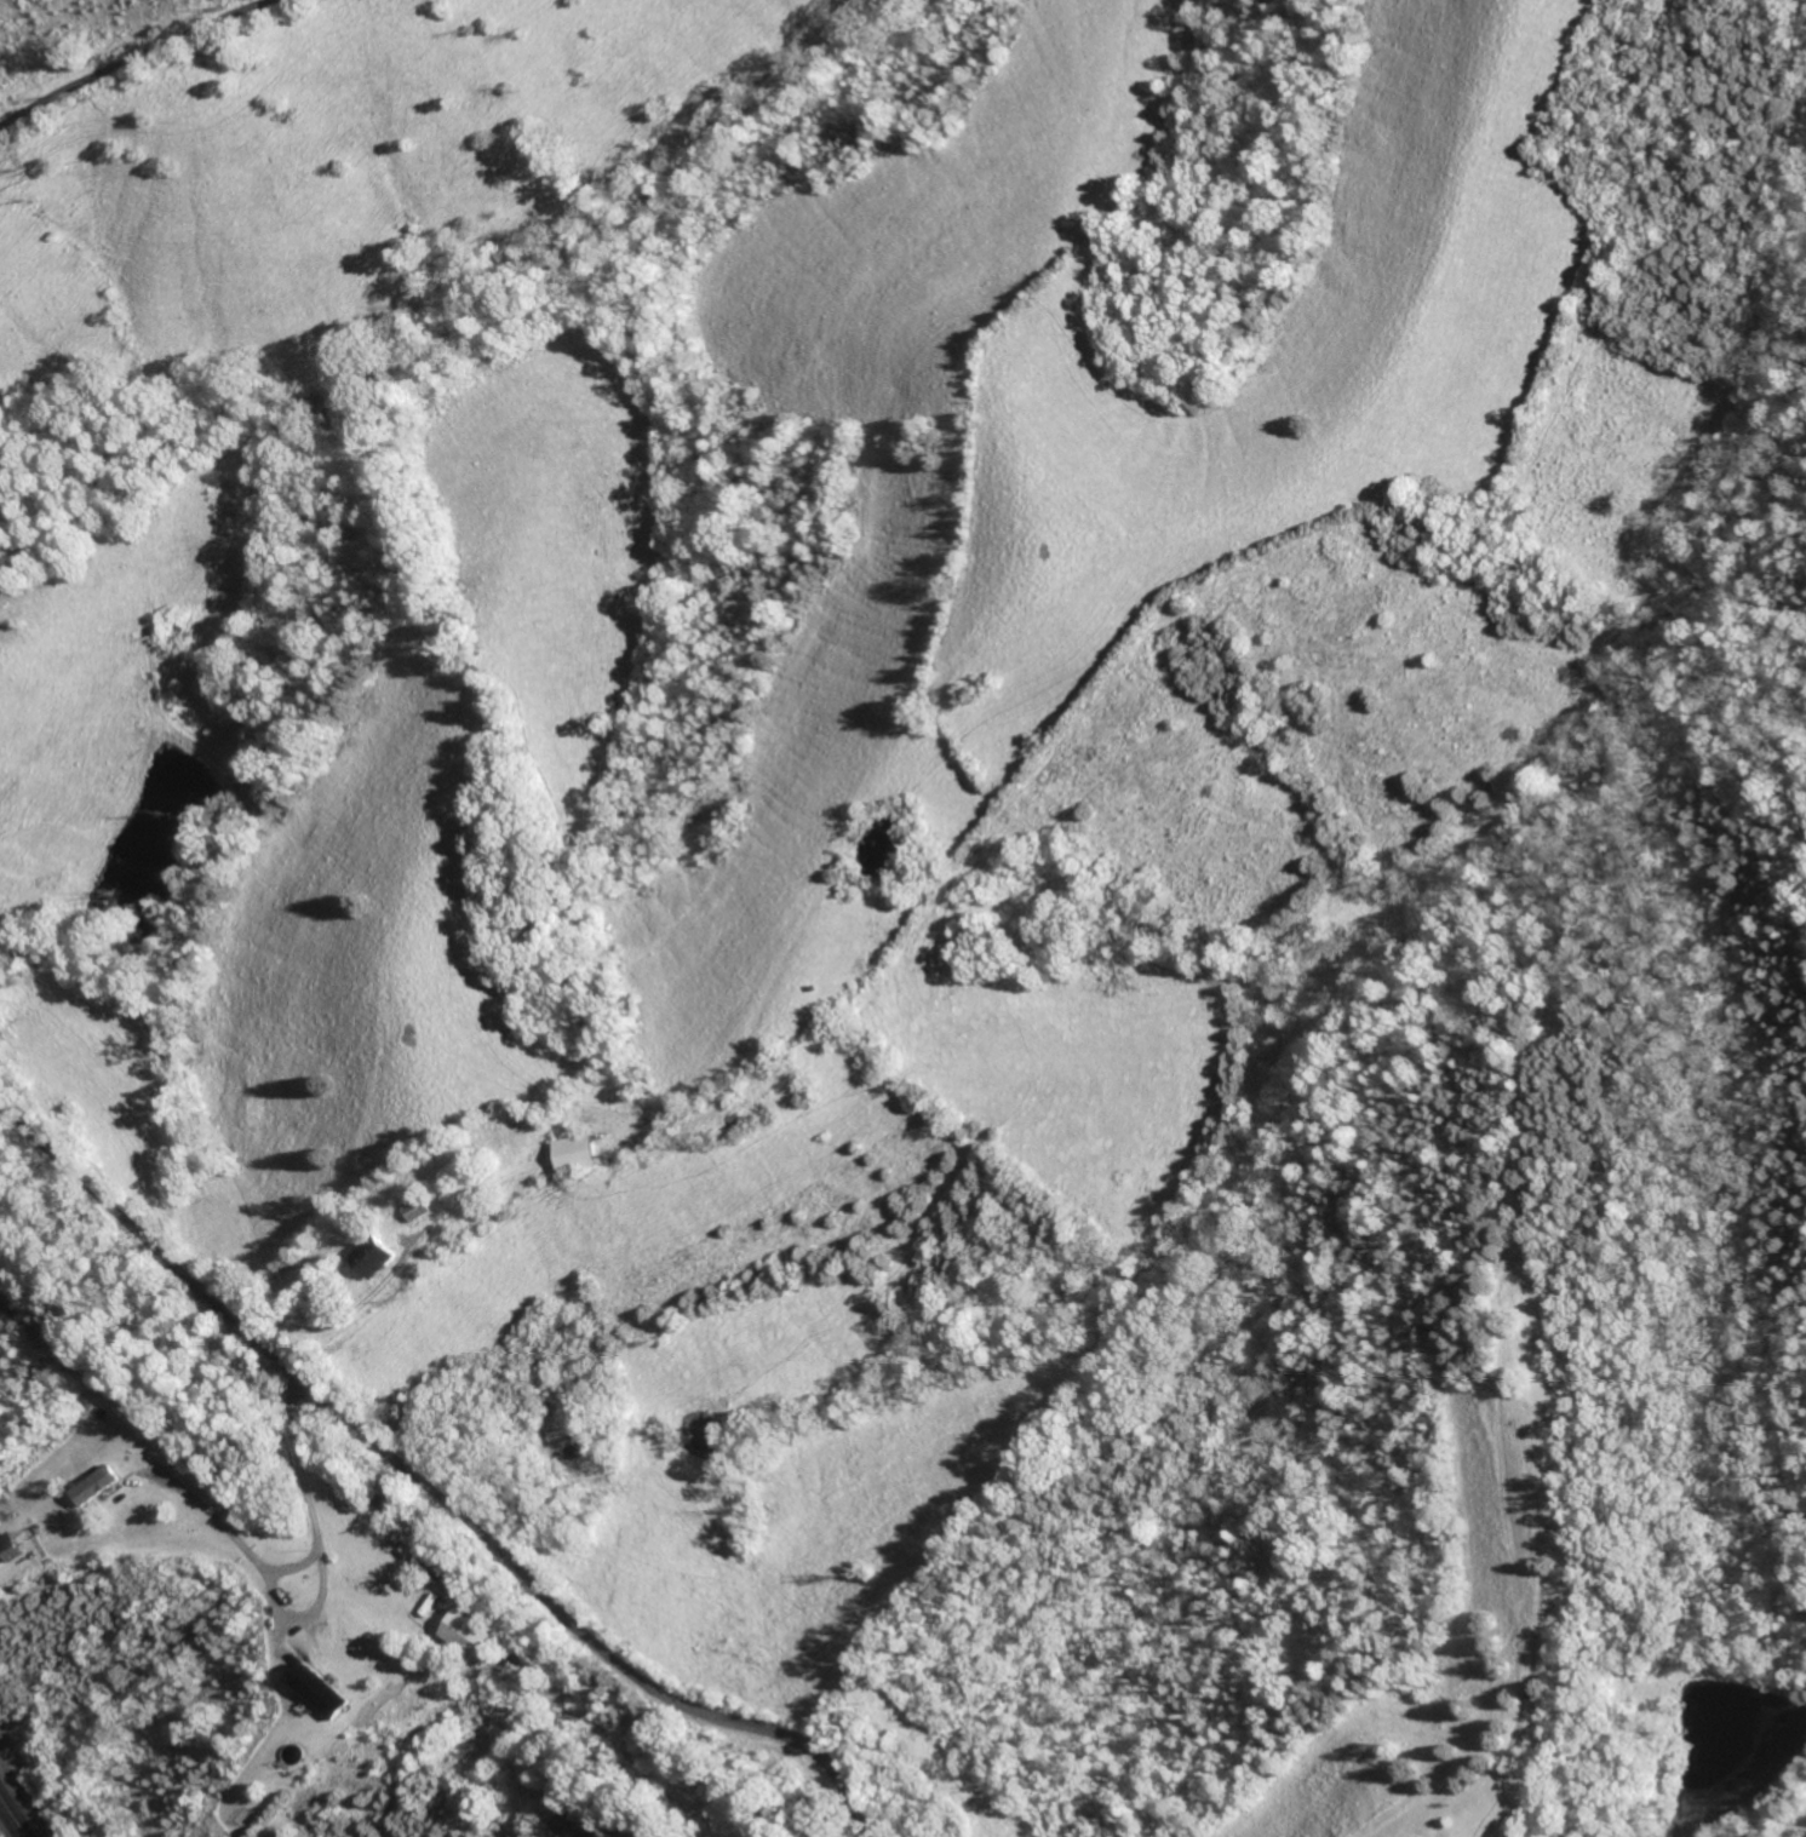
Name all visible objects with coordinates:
road: (126, 56)
building: (422, 1209)
building: (375, 1256)
building: (99, 1486)
road: (431, 1488)
building: (13, 1548)
road: (300, 1565)
road: (317, 1604)
building: (474, 1634)
road: (419, 1648)
building: (322, 1690)
road: (254, 1779)
road: (408, 1799)
road: (342, 1801)
railway: (21, 1806)
railway: (13, 1815)

